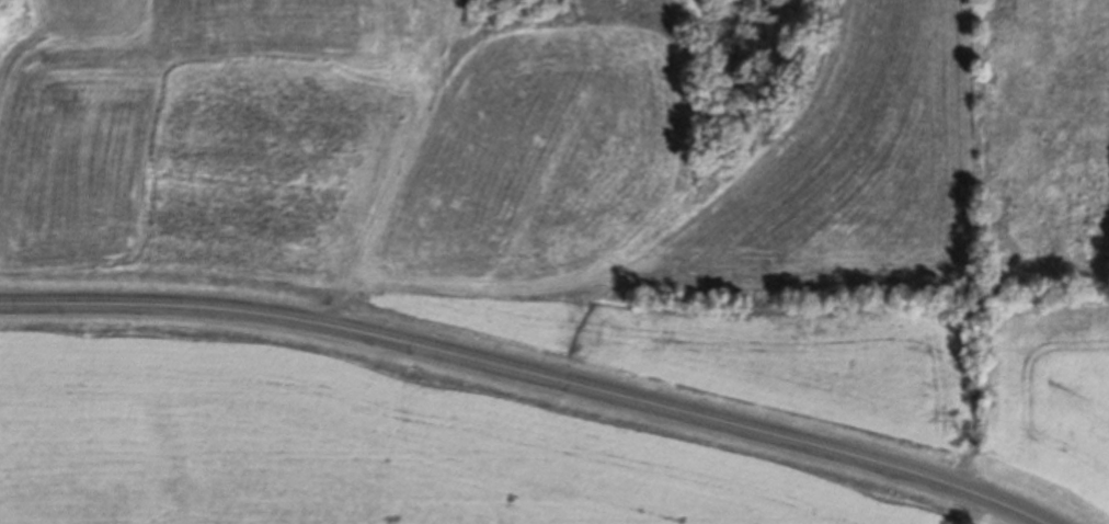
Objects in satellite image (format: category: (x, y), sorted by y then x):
road: (525, 373)

